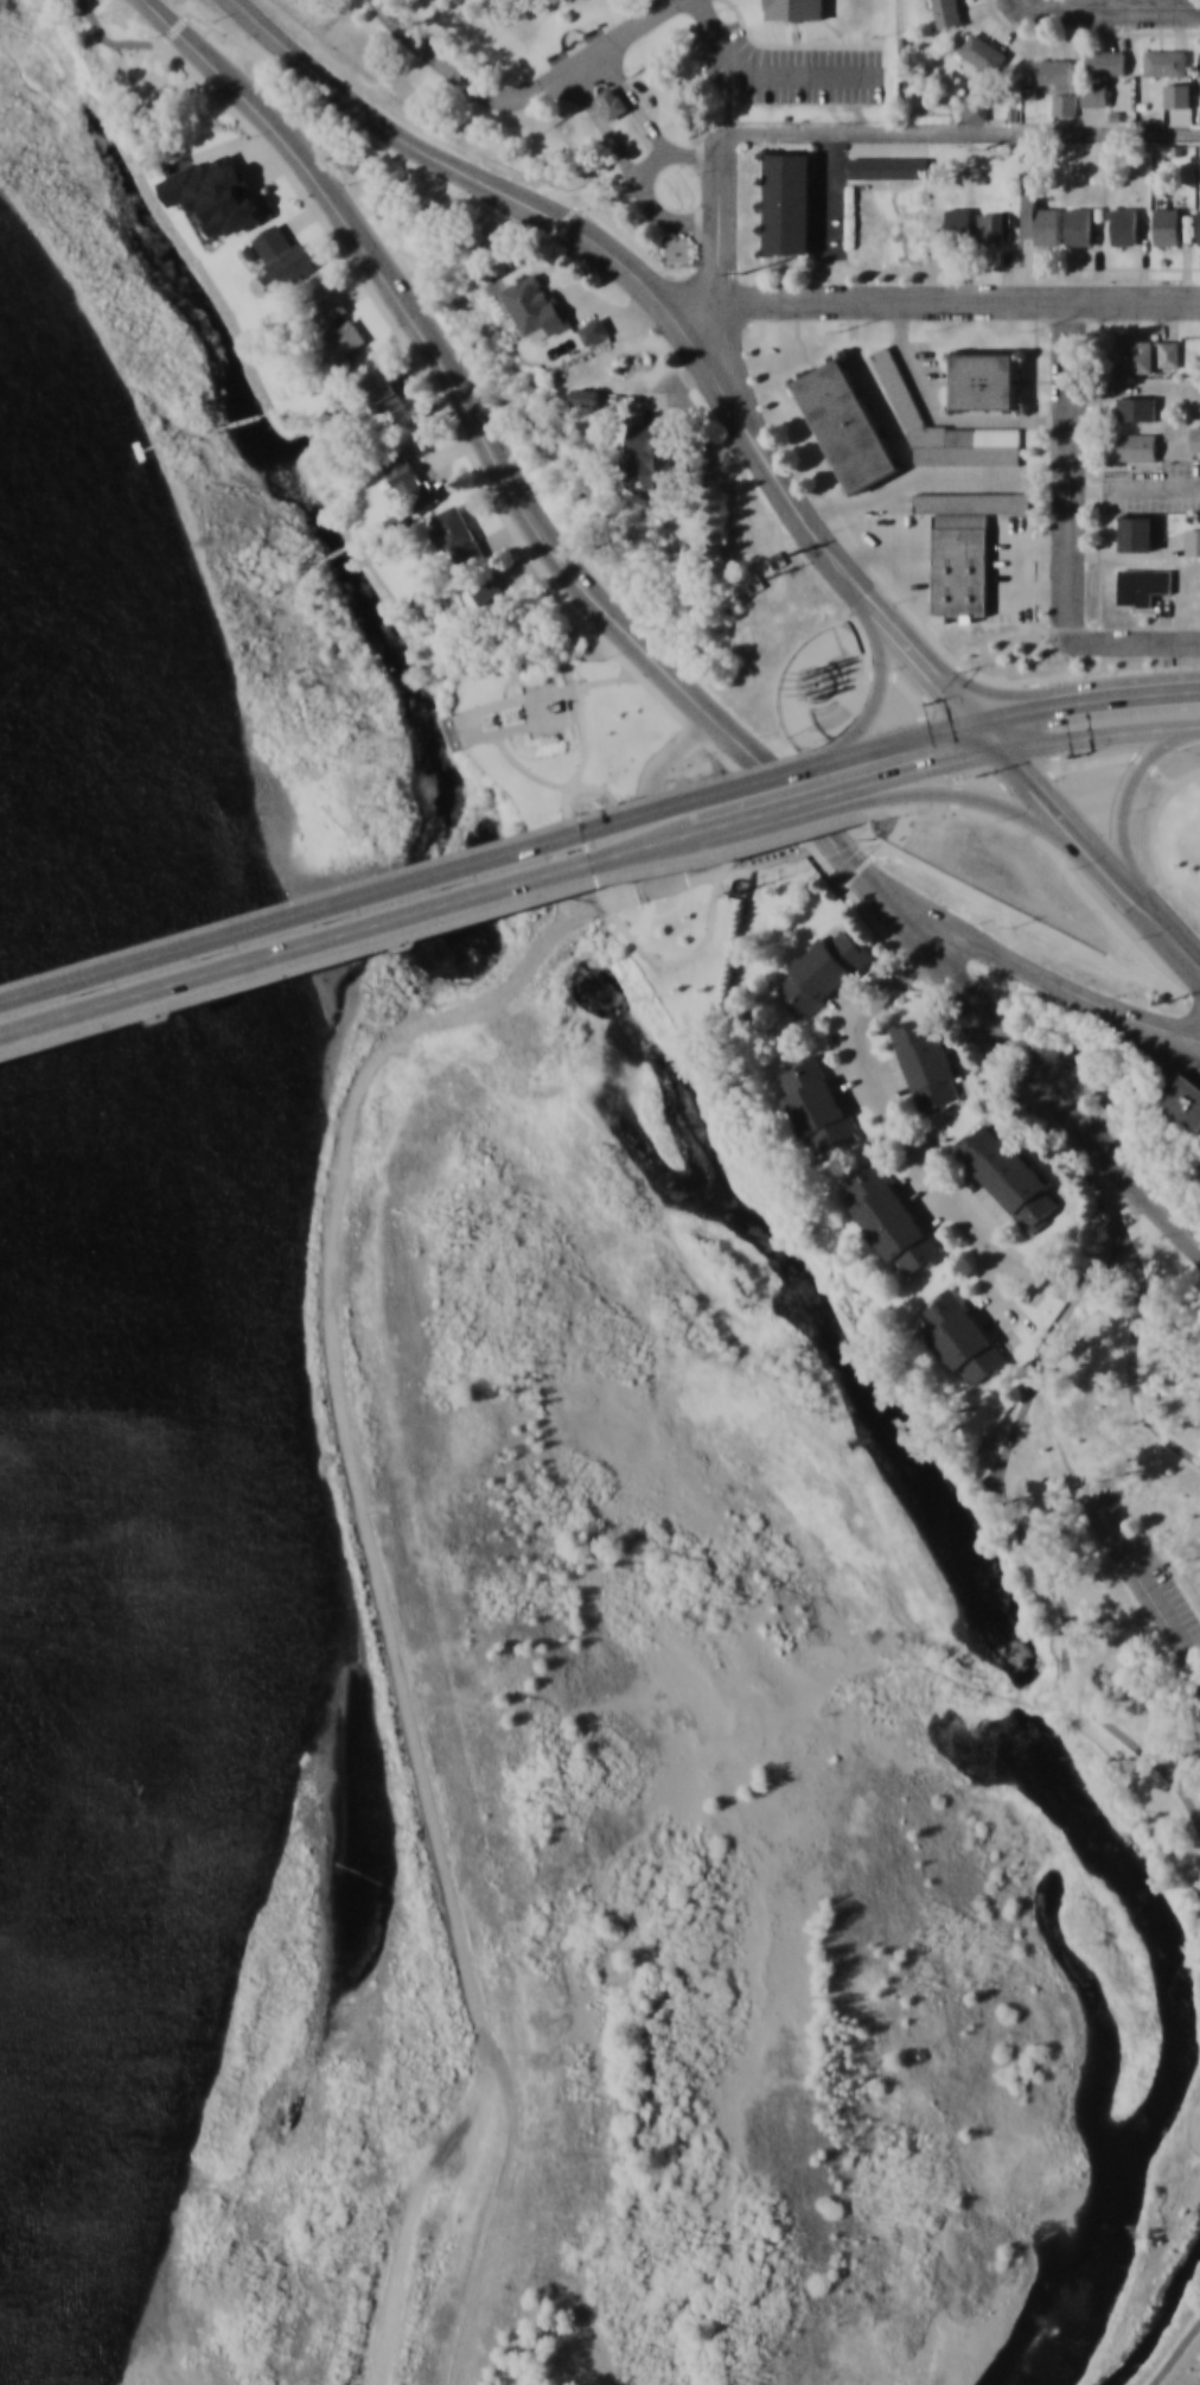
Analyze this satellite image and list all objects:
road: (1110, 7)
building: (796, 8)
building: (946, 12)
road: (634, 24)
building: (983, 52)
park: (62, 56)
building: (1105, 61)
building: (1164, 61)
building: (1199, 61)
road: (770, 74)
building: (1059, 81)
road: (480, 88)
road: (148, 89)
building: (1094, 93)
building: (612, 101)
building: (975, 107)
road: (646, 120)
road: (952, 131)
building: (889, 166)
building: (217, 192)
building: (787, 202)
building: (958, 220)
building: (1039, 222)
building: (1079, 224)
building: (1124, 224)
building: (1167, 224)
building: (1199, 224)
road: (719, 225)
building: (991, 227)
building: (280, 254)
power tower: (748, 275)
road: (655, 294)
road: (936, 299)
building: (535, 303)
building: (334, 324)
road: (411, 324)
building: (1168, 352)
building: (1135, 356)
building: (983, 380)
building: (385, 393)
building: (1136, 407)
building: (848, 426)
building: (944, 427)
building: (1195, 437)
building: (1137, 445)
building: (652, 453)
road: (1067, 468)
building: (411, 484)
building: (1136, 532)
building: (457, 533)
building: (1193, 540)
building: (962, 547)
power tower: (779, 560)
power tower: (755, 581)
building: (1143, 585)
building: (1006, 587)
building: (490, 594)
road: (1135, 641)
road: (881, 664)
road: (1032, 692)
road: (1084, 698)
road: (583, 714)
traffic signals: (969, 715)
road: (908, 732)
road: (1098, 732)
road: (822, 745)
traffic signals: (997, 746)
road: (928, 763)
road: (1166, 775)
road: (553, 786)
road: (1122, 791)
road: (793, 801)
road: (1004, 809)
road: (812, 810)
park: (581, 828)
power tower: (869, 838)
road: (1084, 841)
road: (819, 861)
road: (425, 882)
power tower: (740, 889)
road: (608, 905)
road: (363, 933)
road: (411, 941)
road: (931, 954)
road: (1140, 958)
building: (823, 972)
road: (1064, 990)
road: (1177, 991)
building: (926, 1062)
building: (817, 1101)
road: (881, 1101)
building: (1182, 1101)
building: (1006, 1172)
road: (1123, 1182)
building: (889, 1216)
building: (960, 1335)
road: (1134, 1354)
building: (1199, 1537)
road: (1149, 1592)
parking lot: (1166, 1595)
park: (1077, 1596)
road: (1177, 2354)

